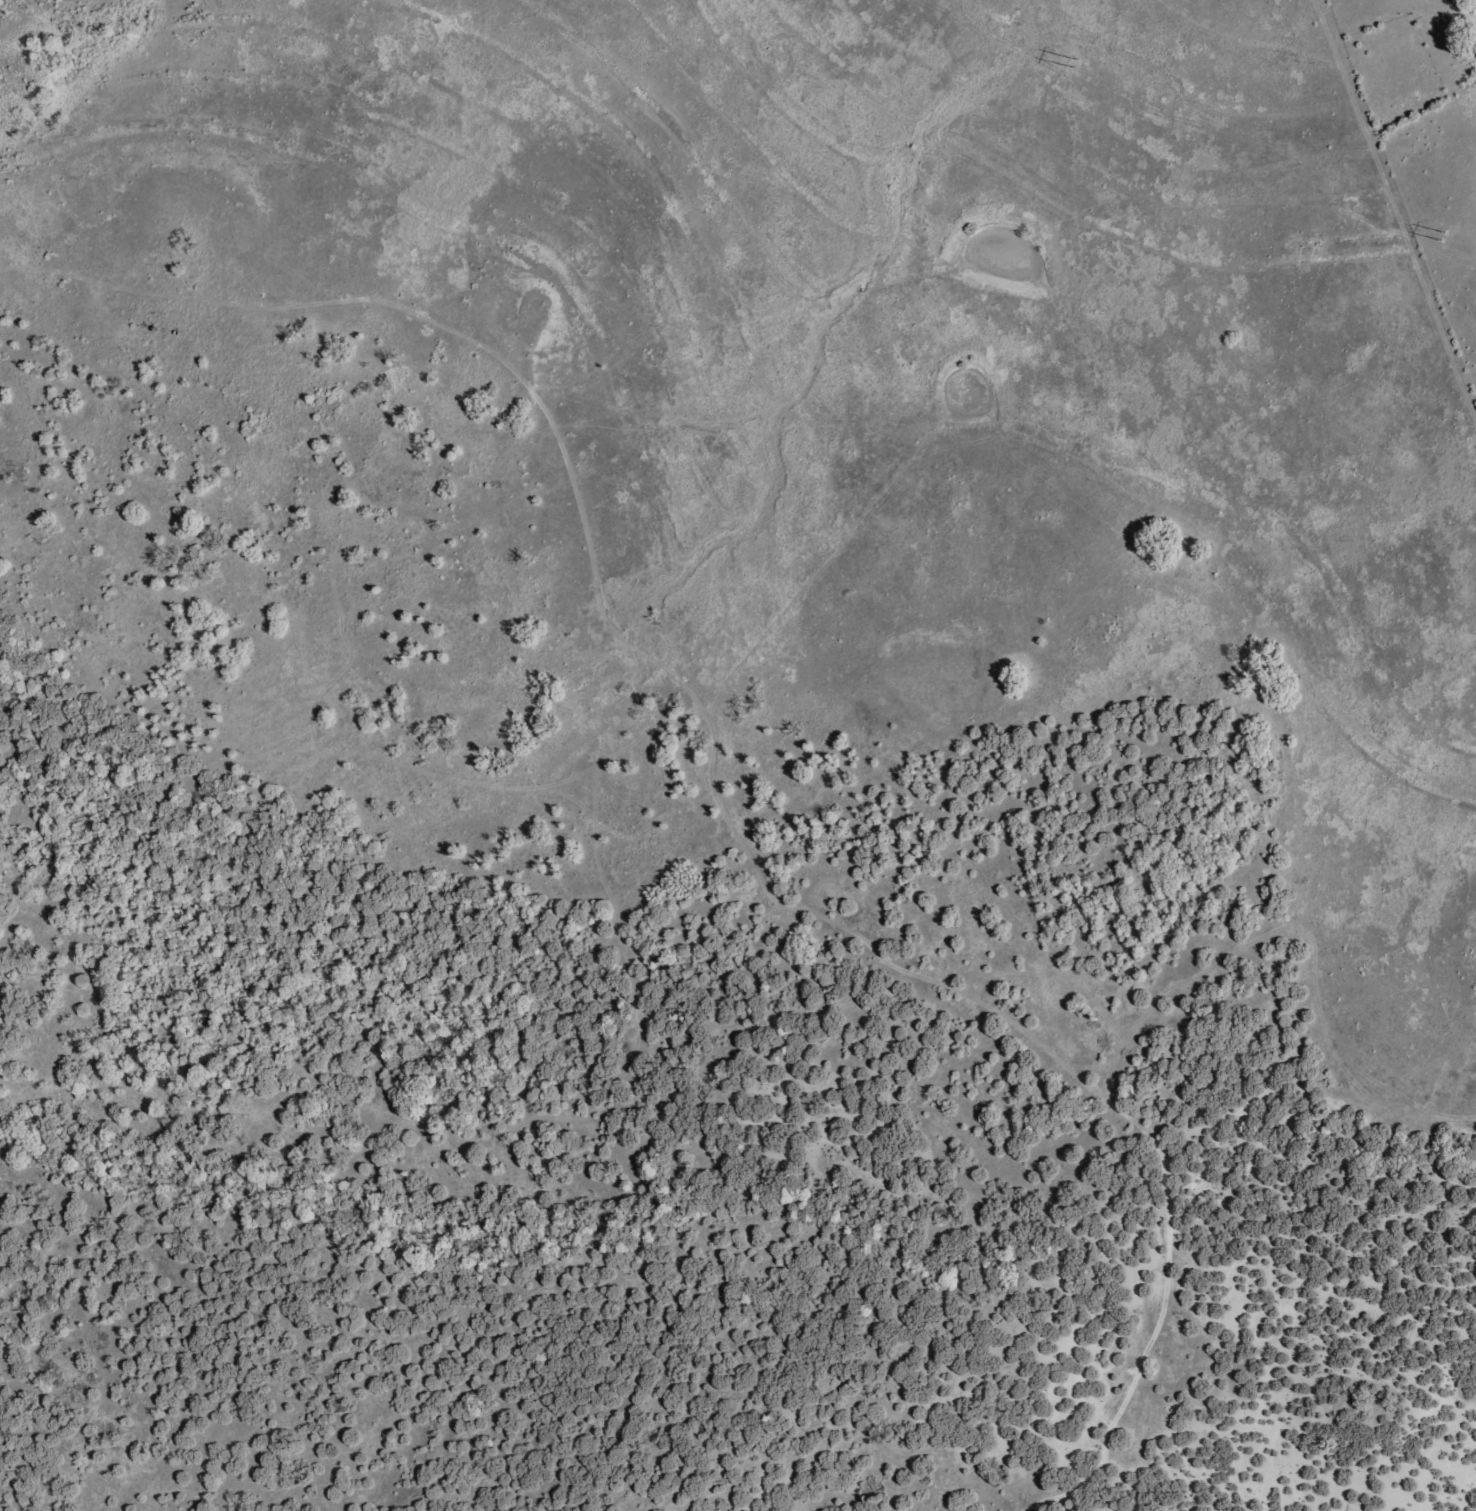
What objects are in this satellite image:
power tower: (1035, 45)
power tower: (1332, 185)

